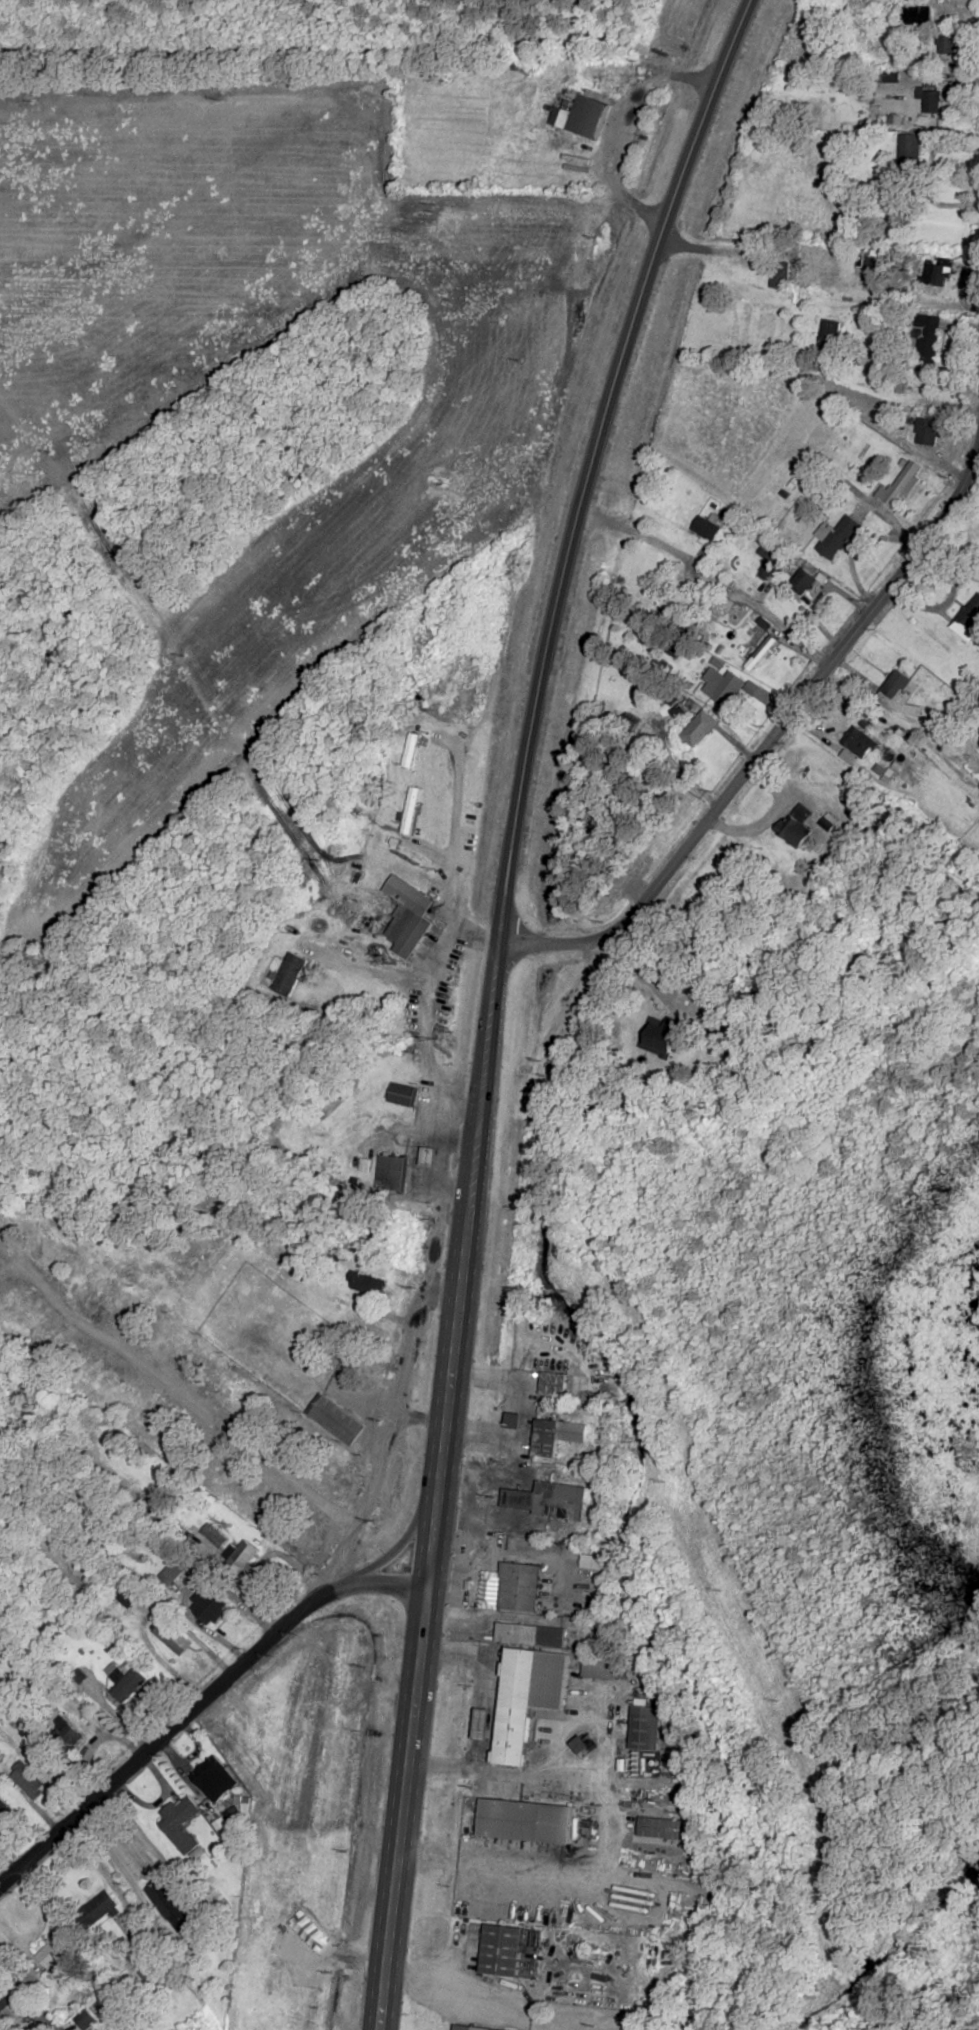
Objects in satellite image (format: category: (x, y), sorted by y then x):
building: (915, 15)
building: (946, 44)
building: (930, 99)
building: (579, 117)
building: (908, 155)
road: (613, 183)
building: (779, 274)
road: (907, 305)
building: (828, 335)
building: (926, 337)
building: (929, 433)
building: (900, 483)
building: (705, 529)
building: (835, 537)
building: (768, 563)
building: (802, 581)
road: (757, 612)
building: (968, 619)
building: (720, 687)
building: (896, 690)
building: (698, 729)
road: (774, 732)
building: (860, 745)
building: (410, 810)
building: (792, 831)
road: (450, 879)
building: (408, 916)
road: (367, 970)
building: (288, 975)
road: (486, 998)
road: (423, 1013)
building: (401, 1094)
building: (429, 1156)
gas station: (429, 1156)
road: (414, 1163)
building: (390, 1172)
gas station: (390, 1172)
building: (76, 1274)
building: (365, 1283)
building: (117, 1301)
building: (17, 1306)
road: (409, 1340)
building: (195, 1359)
building: (552, 1385)
building: (120, 1395)
road: (187, 1397)
building: (142, 1408)
road: (420, 1418)
building: (335, 1419)
building: (512, 1421)
building: (160, 1423)
building: (554, 1435)
building: (548, 1500)
road: (362, 1504)
road: (468, 1528)
road: (398, 1546)
building: (240, 1559)
building: (173, 1572)
building: (519, 1587)
building: (125, 1597)
building: (208, 1605)
building: (530, 1636)
building: (172, 1637)
building: (605, 1669)
building: (126, 1684)
building: (525, 1700)
road: (199, 1701)
building: (480, 1724)
building: (645, 1728)
building: (63, 1734)
road: (562, 1766)
building: (214, 1779)
building: (27, 1781)
building: (4, 1813)
building: (515, 1819)
building: (180, 1823)
building: (659, 1827)
road: (100, 1869)
road: (2, 1876)
building: (169, 1905)
building: (98, 1909)
building: (53, 1950)
building: (501, 1950)
road: (471, 1994)
building: (9, 2004)
building: (84, 2020)
building: (471, 2028)

